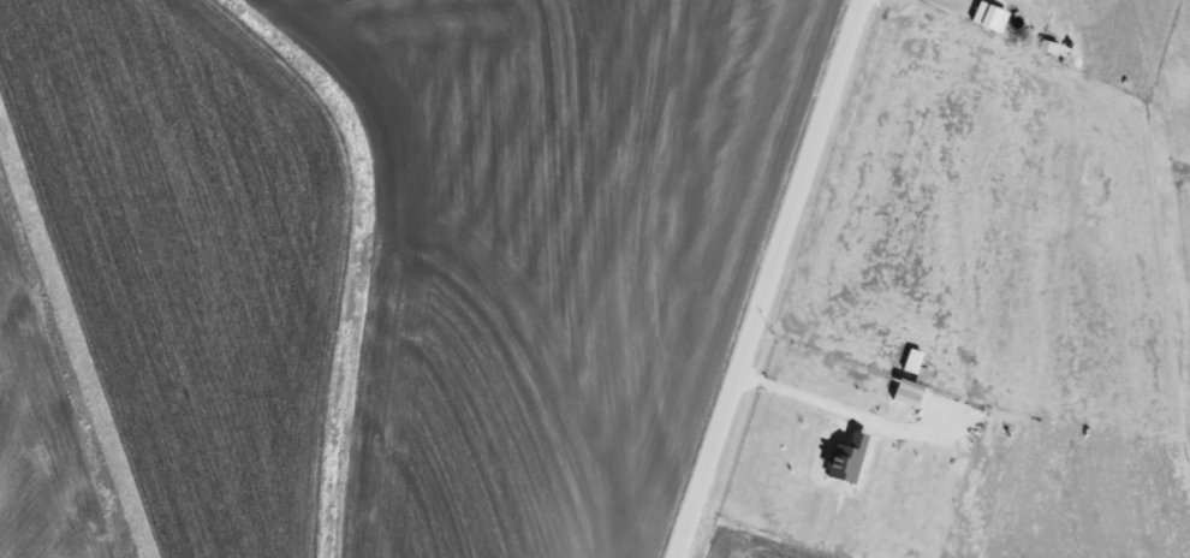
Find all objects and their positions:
building: (990, 14)
road: (769, 279)
road: (799, 394)
building: (906, 396)
building: (847, 457)

